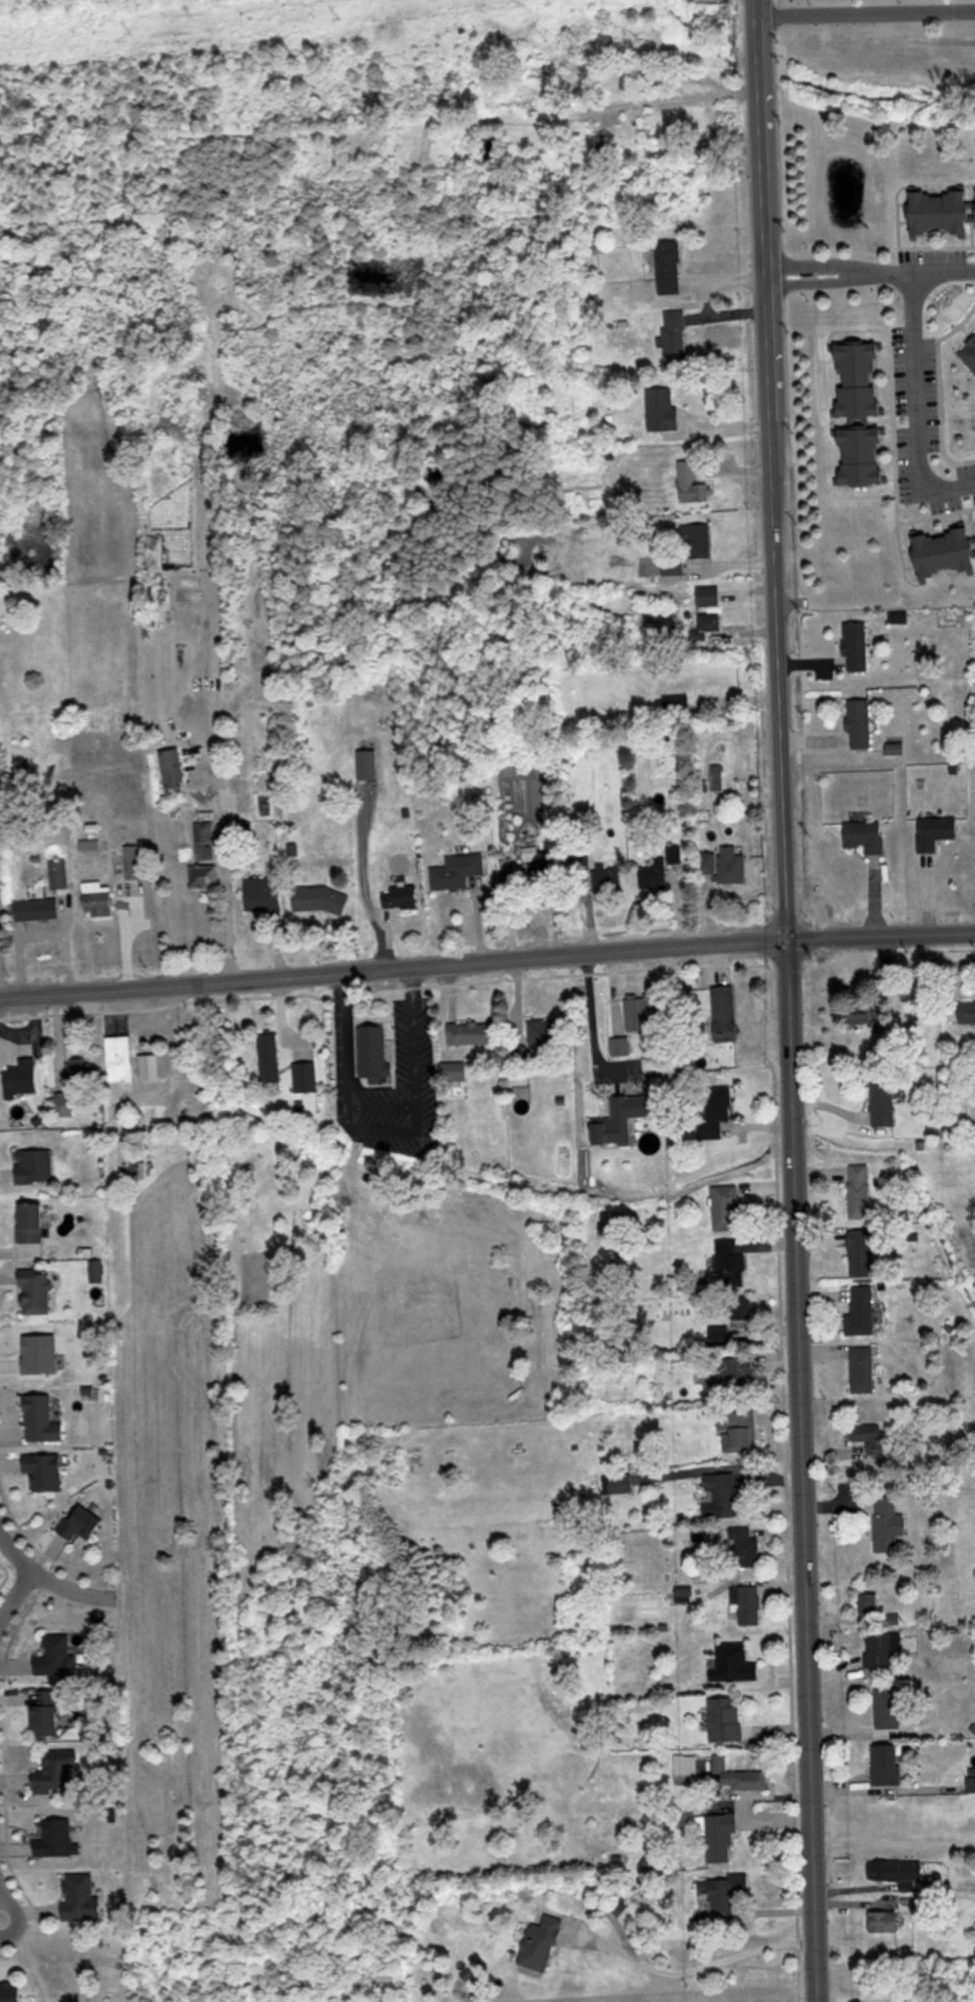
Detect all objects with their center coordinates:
power tower: (551, 1)
power tower: (338, 17)
road: (868, 22)
power tower: (130, 31)
building: (942, 211)
building: (669, 267)
road: (871, 278)
building: (675, 336)
building: (969, 352)
building: (860, 380)
road: (913, 385)
building: (662, 409)
building: (863, 455)
road: (771, 468)
building: (691, 482)
road: (945, 488)
building: (699, 545)
building: (945, 551)
building: (673, 564)
building: (707, 595)
building: (705, 625)
building: (857, 646)
building: (675, 703)
building: (860, 723)
building: (367, 764)
building: (173, 771)
building: (717, 782)
building: (936, 831)
building: (866, 835)
building: (203, 840)
building: (674, 853)
building: (131, 860)
building: (725, 864)
building: (457, 870)
building: (58, 872)
building: (203, 875)
building: (654, 875)
building: (608, 878)
road: (223, 887)
building: (548, 887)
building: (262, 894)
building: (97, 898)
building: (400, 898)
building: (320, 899)
building: (36, 908)
road: (123, 929)
road: (487, 959)
building: (967, 1011)
building: (642, 1012)
building: (725, 1014)
building: (869, 1016)
road: (589, 1021)
building: (544, 1031)
building: (471, 1033)
road: (172, 1037)
building: (374, 1054)
building: (269, 1057)
building: (119, 1058)
building: (650, 1063)
building: (22, 1071)
building: (454, 1071)
building: (305, 1077)
building: (883, 1101)
building: (60, 1104)
road: (380, 1109)
building: (715, 1112)
building: (620, 1120)
road: (385, 1130)
building: (34, 1166)
building: (859, 1191)
building: (726, 1208)
building: (31, 1223)
building: (861, 1253)
building: (731, 1264)
building: (36, 1293)
building: (741, 1308)
building: (862, 1312)
building: (719, 1334)
building: (862, 1370)
building: (730, 1375)
building: (41, 1420)
building: (738, 1431)
building: (870, 1437)
road: (792, 1470)
building: (44, 1471)
building: (620, 1483)
building: (724, 1495)
building: (887, 1523)
building: (81, 1524)
building: (746, 1548)
road: (42, 1578)
road: (14, 1599)
building: (745, 1604)
building: (869, 1604)
building: (891, 1618)
building: (882, 1650)
building: (55, 1655)
building: (734, 1662)
building: (888, 1707)
building: (45, 1714)
building: (725, 1719)
building: (887, 1764)
building: (685, 1767)
building: (56, 1774)
building: (740, 1776)
building: (719, 1836)
building: (57, 1840)
building: (898, 1870)
building: (722, 1893)
building: (81, 1898)
road: (0, 1917)
building: (884, 1922)
building: (541, 1944)
road: (687, 1976)

